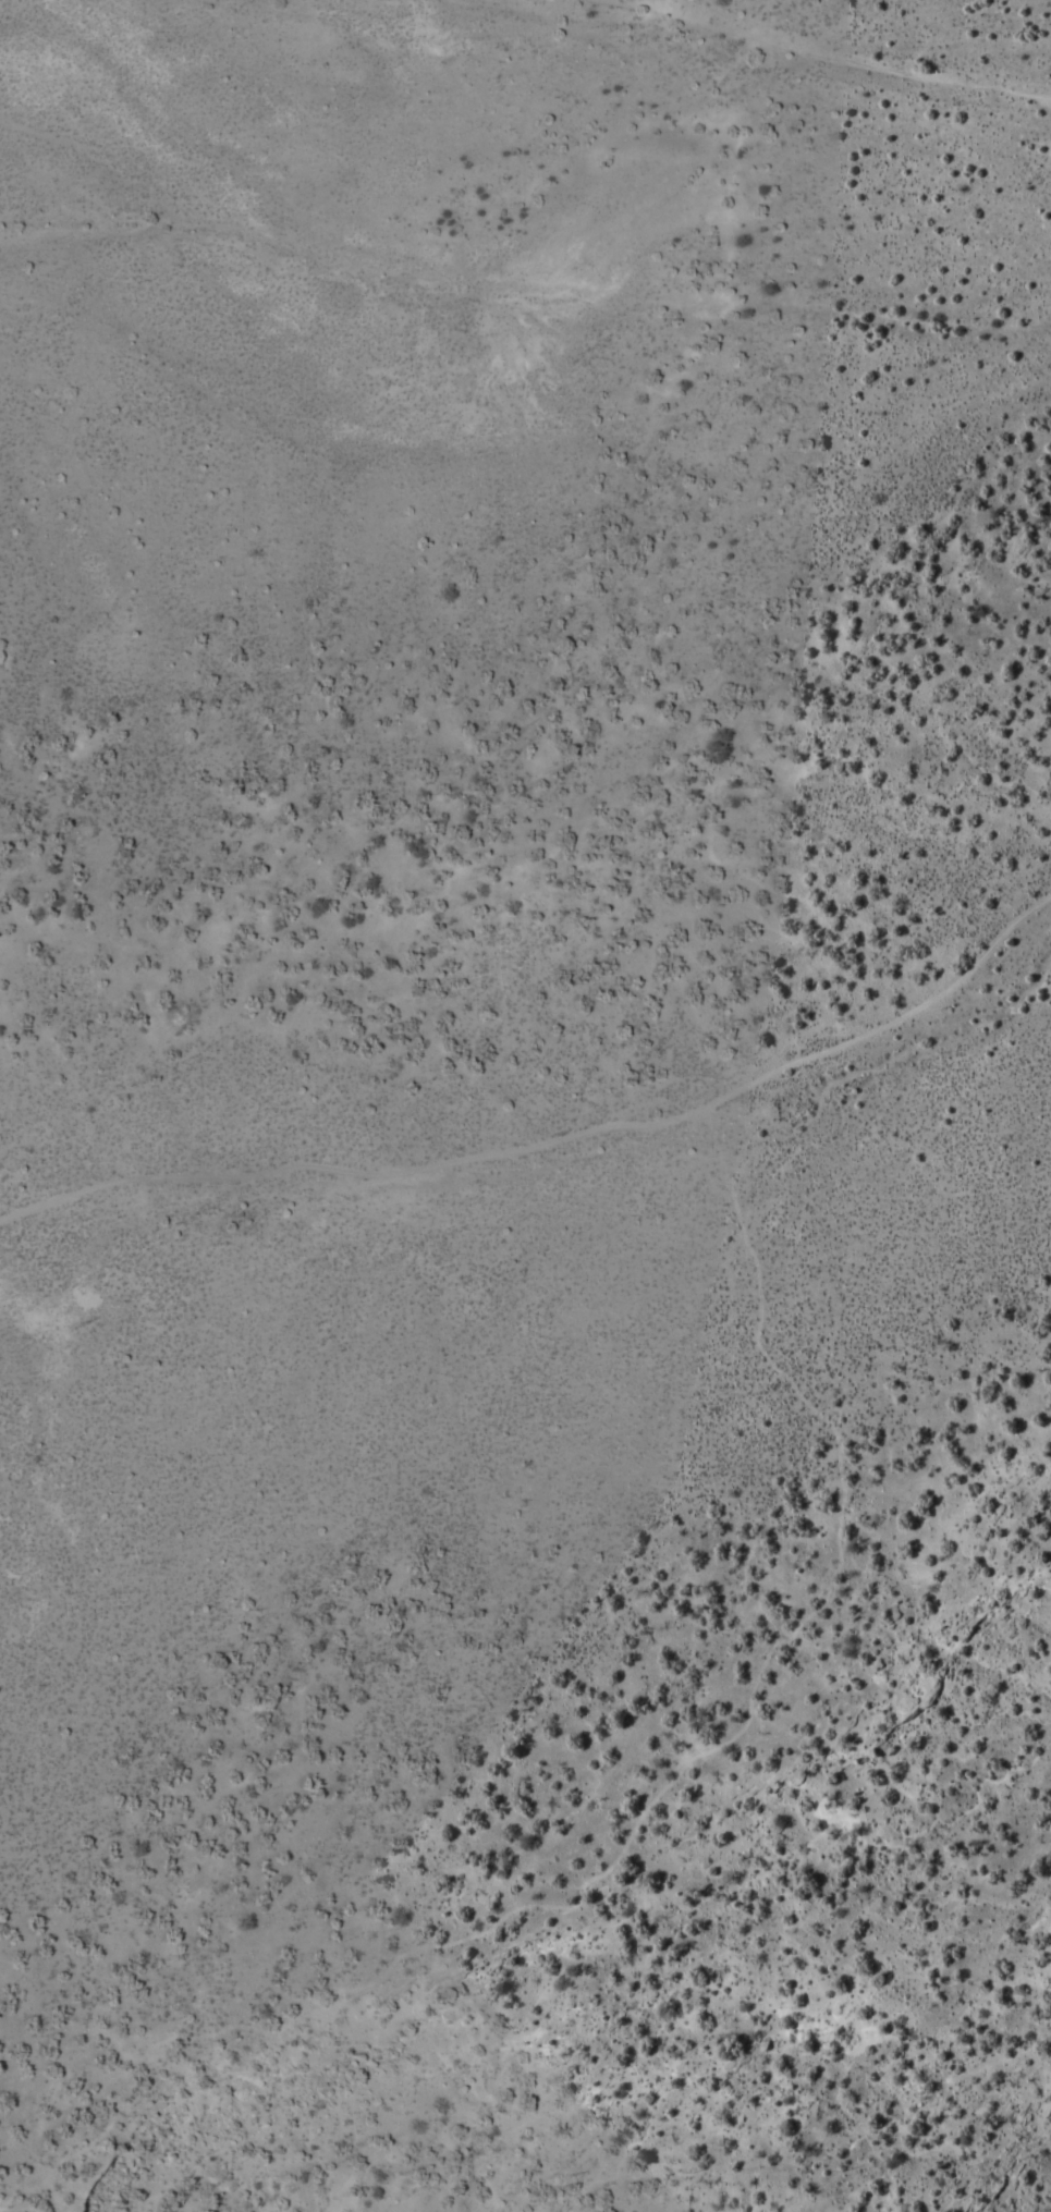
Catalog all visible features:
road: (944, 25)

